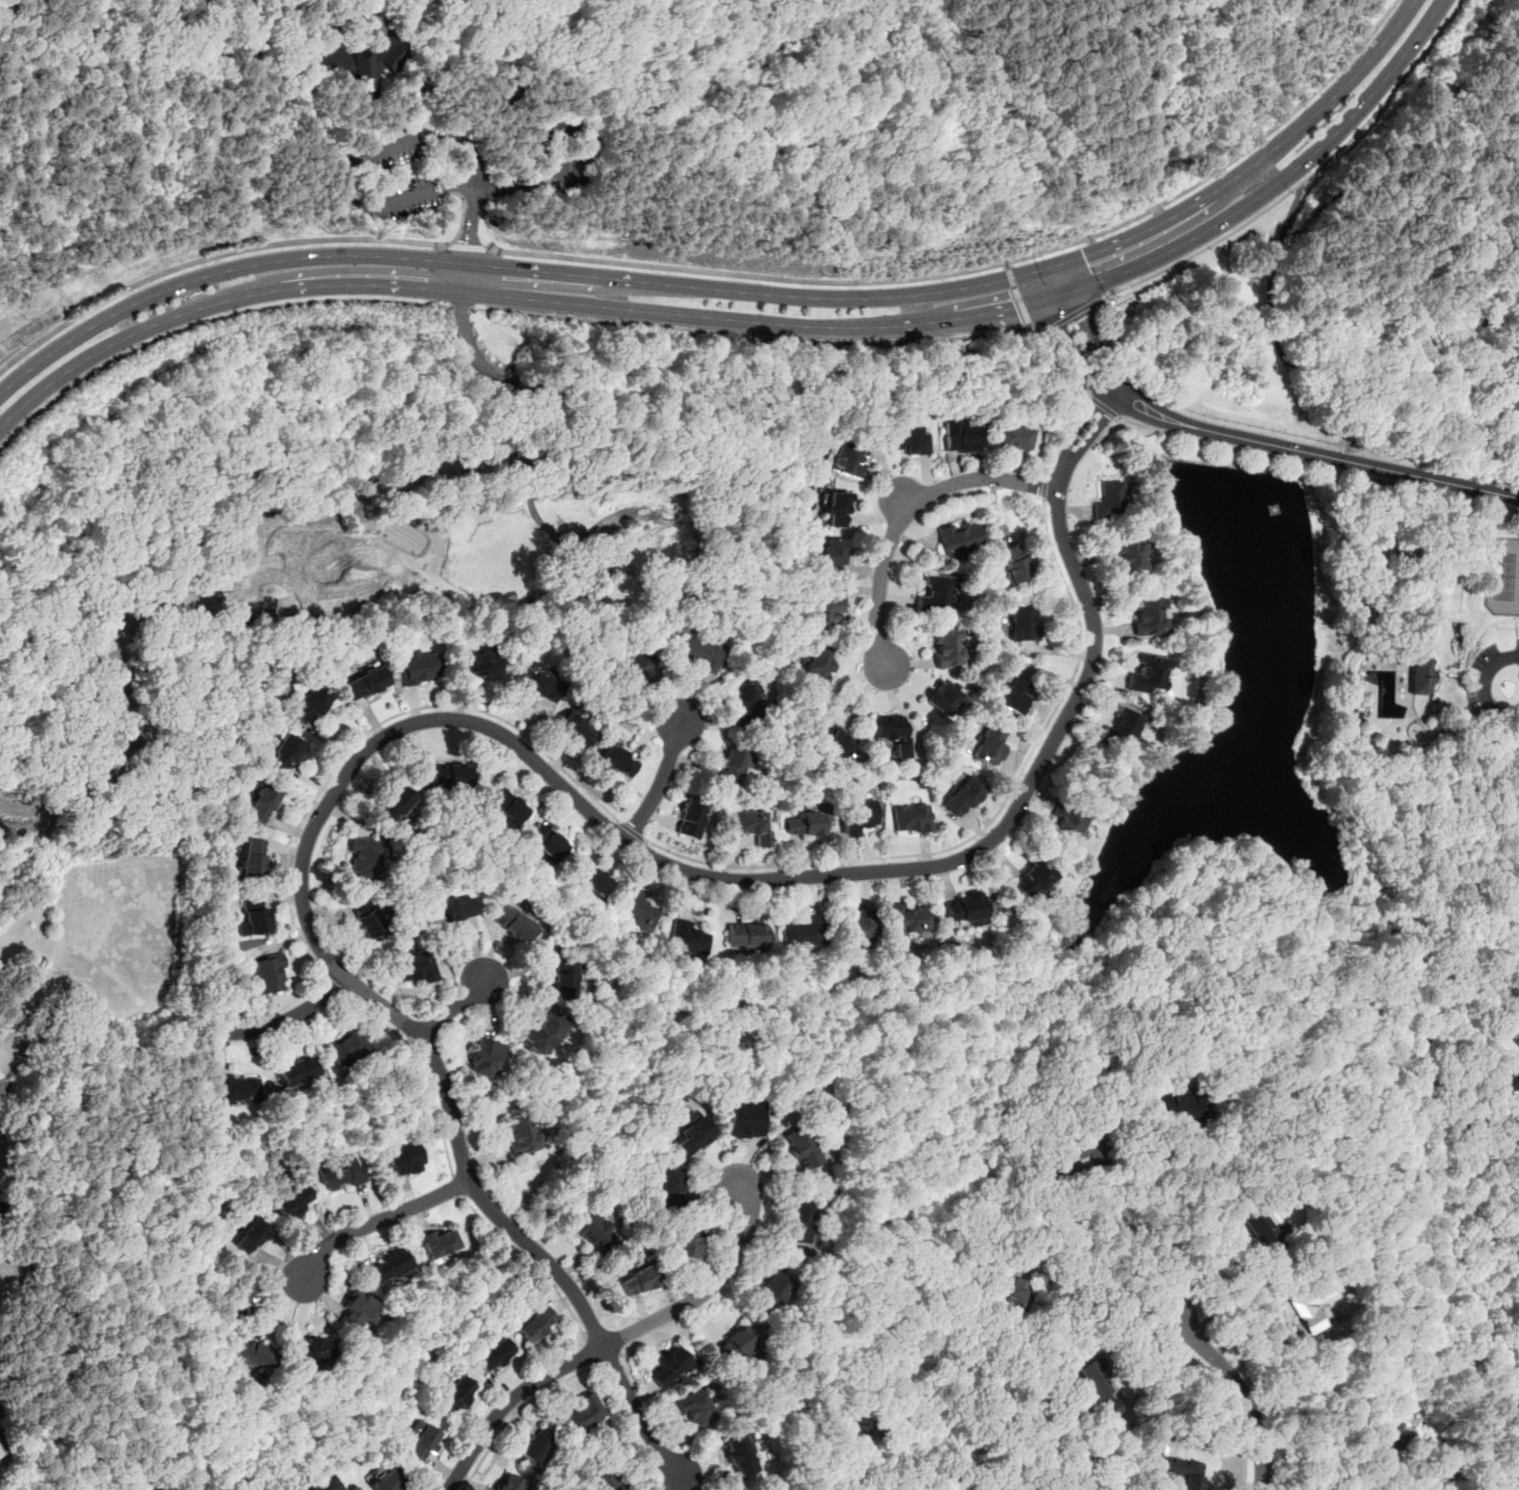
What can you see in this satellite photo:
road: (376, 13)
road: (311, 15)
road: (382, 34)
road: (329, 35)
road: (362, 41)
road: (152, 54)
road: (480, 54)
road: (348, 56)
road: (364, 60)
building: (361, 64)
road: (406, 104)
road: (309, 112)
road: (535, 136)
road: (593, 143)
road: (393, 146)
park: (515, 149)
road: (543, 162)
parking lot: (397, 171)
parking lot: (561, 173)
road: (1277, 180)
road: (1303, 180)
road: (468, 244)
road: (208, 257)
road: (985, 267)
road: (435, 274)
road: (496, 280)
road: (1058, 281)
road: (738, 291)
road: (1019, 295)
road: (515, 296)
road: (460, 309)
road: (1071, 316)
road: (207, 320)
road: (1276, 330)
road: (803, 340)
road: (1092, 341)
road: (1070, 353)
road: (1101, 406)
road: (544, 434)
building: (958, 434)
building: (1013, 438)
road: (1060, 438)
building: (908, 439)
road: (1229, 447)
road: (1313, 453)
building: (844, 458)
road: (1344, 461)
road: (1045, 485)
road: (1430, 492)
building: (1107, 501)
building: (836, 508)
road: (902, 512)
building: (958, 538)
building: (658, 547)
building: (1126, 554)
building: (830, 555)
building: (622, 561)
building: (1012, 563)
park: (1501, 577)
park: (1448, 584)
road: (1407, 589)
building: (934, 596)
building: (822, 614)
building: (1149, 615)
road: (1492, 623)
building: (1022, 624)
road: (1515, 628)
road: (1470, 639)
building: (948, 646)
building: (698, 654)
building: (477, 664)
building: (815, 665)
building: (417, 666)
building: (638, 668)
building: (1148, 674)
building: (1420, 677)
building: (364, 682)
building: (539, 682)
road: (1483, 685)
building: (1013, 695)
building: (943, 697)
building: (747, 701)
building: (310, 703)
road: (374, 726)
building: (573, 726)
building: (1121, 730)
building: (892, 733)
road: (509, 739)
building: (831, 740)
building: (989, 743)
building: (285, 752)
building: (614, 760)
building: (733, 763)
building: (450, 775)
road: (659, 783)
building: (963, 795)
building: (1518, 795)
building: (263, 802)
building: (394, 804)
building: (506, 806)
building: (857, 815)
building: (689, 817)
building: (911, 818)
building: (804, 823)
road: (987, 823)
building: (753, 825)
building: (1067, 826)
road: (631, 831)
building: (1516, 840)
building: (544, 842)
building: (363, 857)
building: (253, 858)
building: (589, 879)
building: (1034, 881)
road: (1478, 902)
building: (454, 908)
building: (636, 909)
building: (965, 910)
building: (254, 915)
building: (365, 918)
building: (907, 920)
building: (513, 923)
building: (857, 925)
building: (803, 931)
building: (746, 937)
building: (687, 940)
building: (416, 965)
building: (268, 973)
building: (565, 976)
road: (335, 985)
road: (453, 1006)
road: (283, 1021)
road: (1417, 1022)
building: (544, 1033)
building: (1515, 1036)
building: (348, 1048)
building: (485, 1058)
road: (423, 1067)
building: (297, 1071)
building: (236, 1089)
building: (1501, 1089)
building: (1180, 1106)
building: (742, 1120)
building: (523, 1132)
building: (689, 1134)
building: (1511, 1138)
building: (801, 1148)
building: (1081, 1148)
building: (402, 1158)
building: (339, 1172)
road: (456, 1185)
building: (668, 1187)
building: (292, 1201)
road: (1153, 1213)
road: (375, 1220)
building: (798, 1222)
building: (1257, 1224)
building: (593, 1232)
building: (249, 1234)
building: (438, 1241)
building: (683, 1241)
road: (1112, 1252)
road: (528, 1264)
building: (387, 1266)
building: (637, 1281)
building: (772, 1291)
building: (1012, 1294)
road: (1239, 1294)
road: (1091, 1295)
building: (235, 1296)
building: (1310, 1305)
building: (355, 1311)
building: (533, 1323)
road: (1251, 1323)
road: (617, 1338)
building: (736, 1344)
building: (312, 1349)
road: (590, 1351)
building: (253, 1353)
building: (491, 1354)
building: (668, 1366)
road: (1159, 1376)
building: (1100, 1389)
road: (1238, 1391)
building: (452, 1394)
building: (696, 1409)
road: (515, 1412)
building: (581, 1413)
road: (1205, 1422)
building: (1388, 1437)
building: (419, 1441)
building: (534, 1444)
building: (1, 1451)
building: (738, 1457)
building: (1178, 1470)
building: (603, 1479)
building: (385, 1480)
building: (510, 1482)
building: (322, 1483)
building: (737, 1489)

